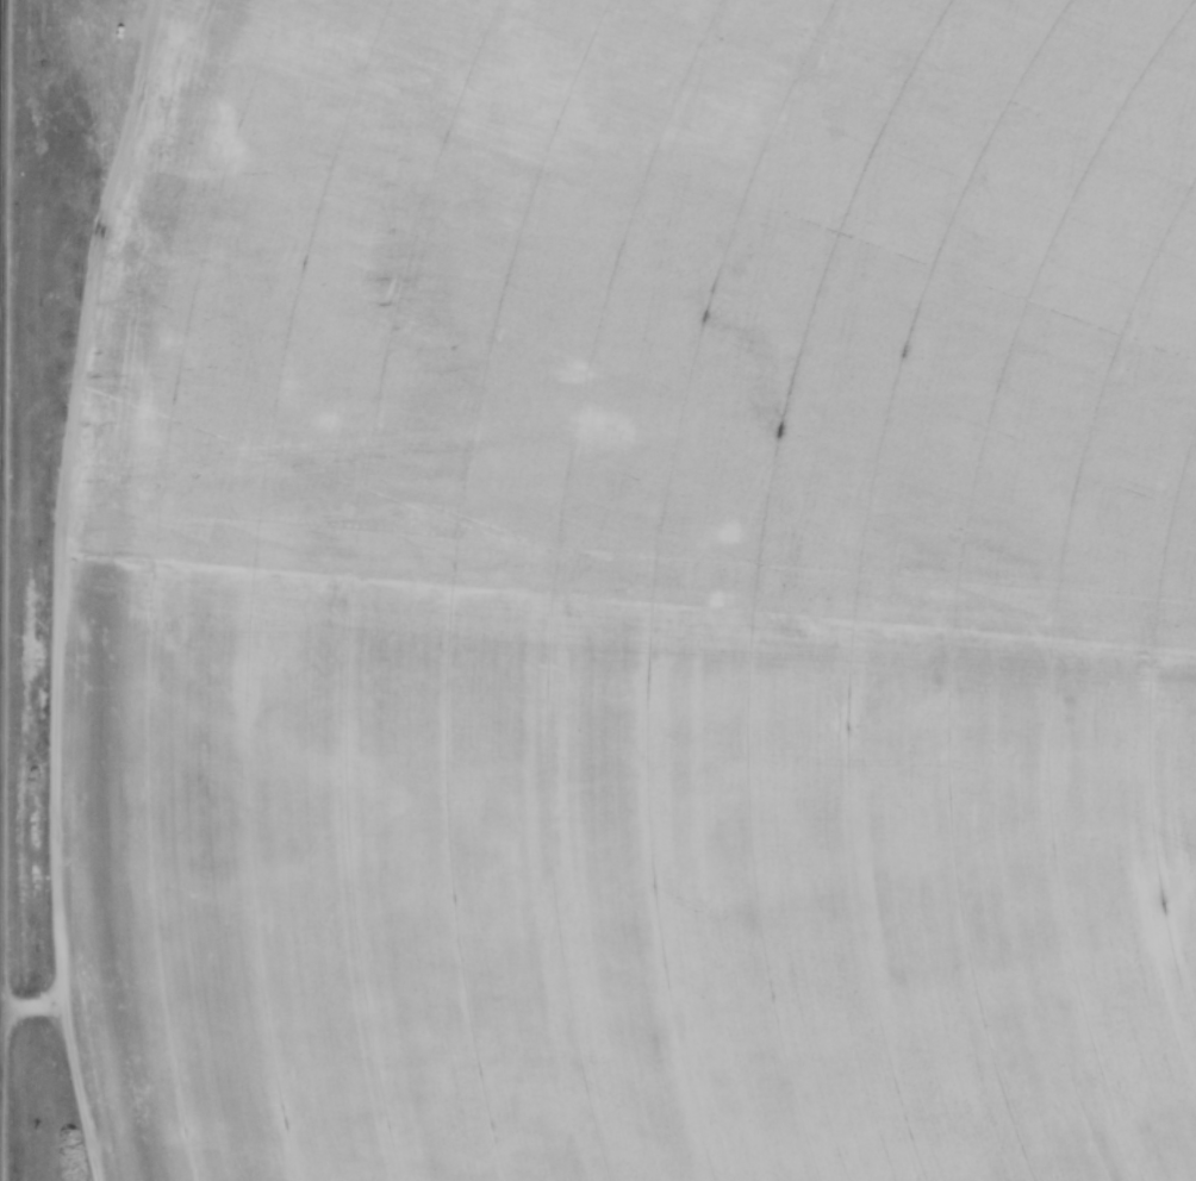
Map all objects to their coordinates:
building: (777, 791)
building: (867, 917)

